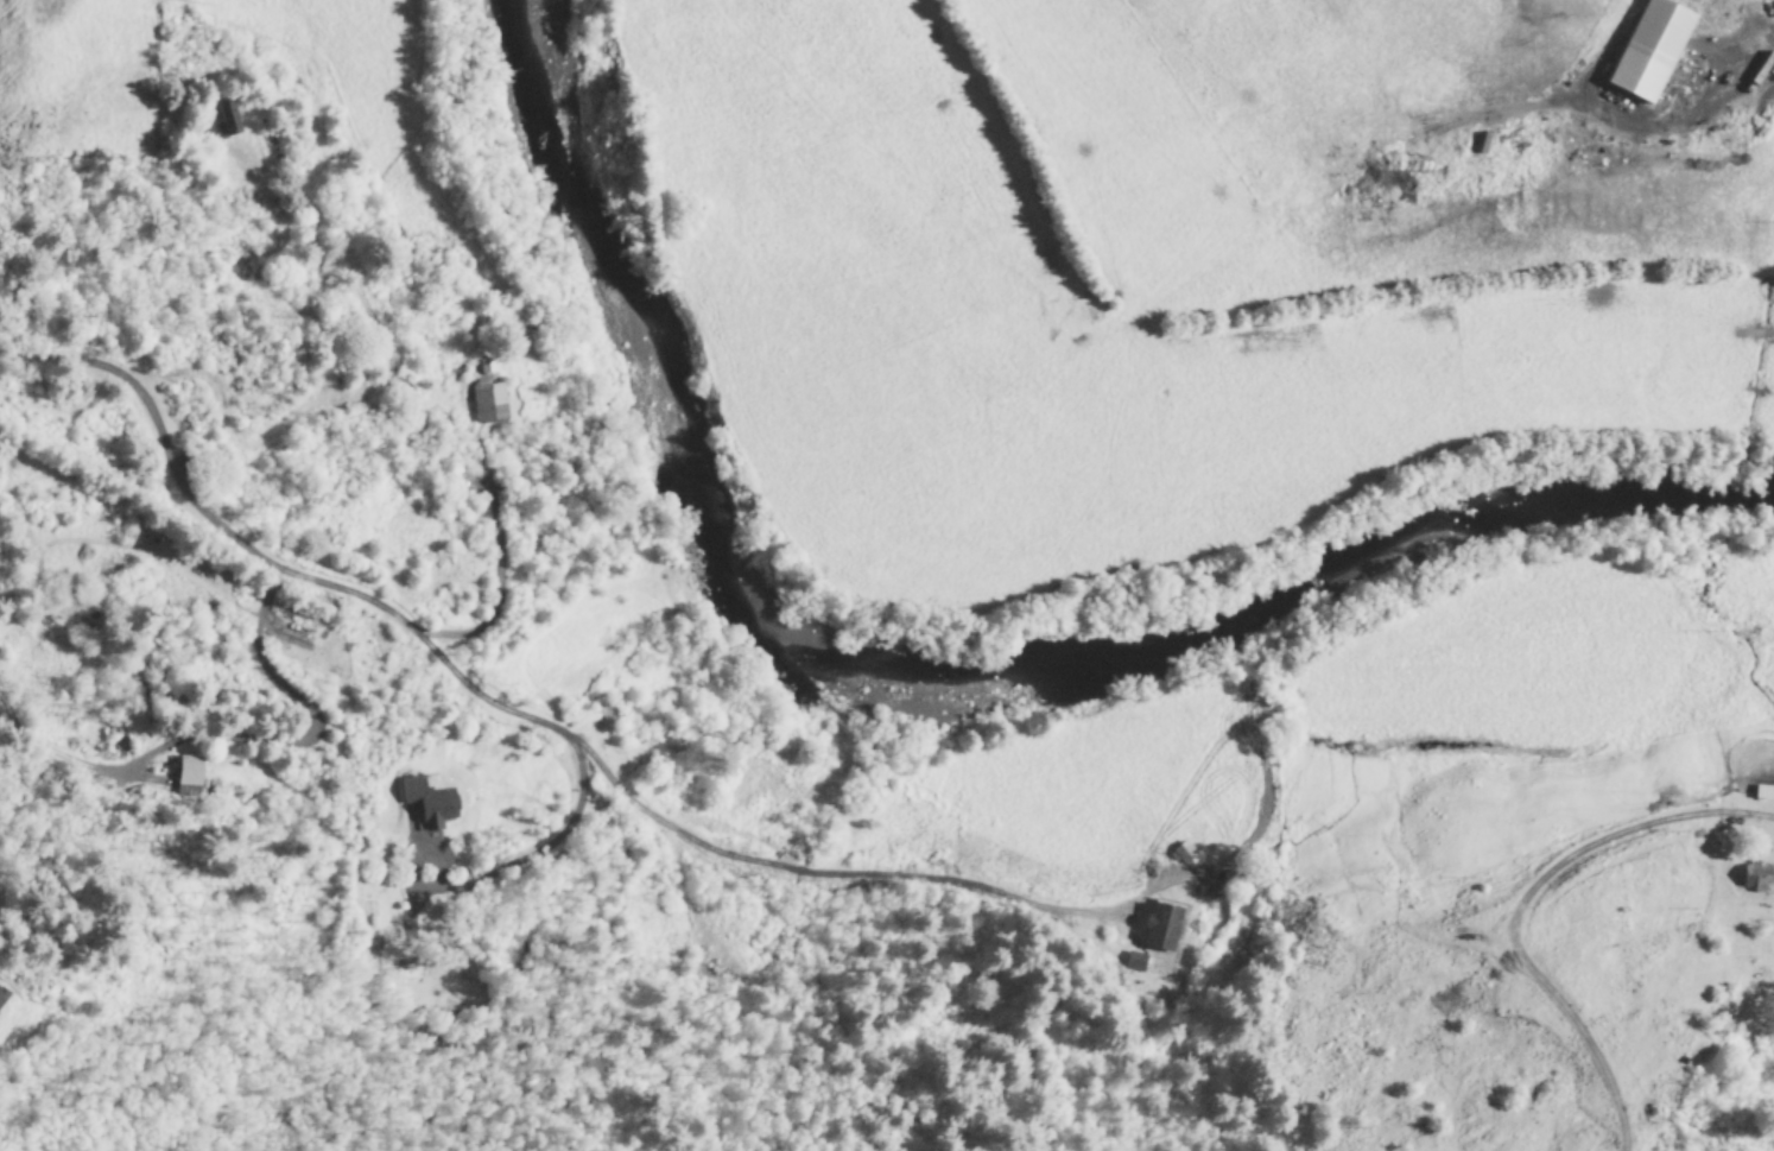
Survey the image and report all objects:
building: (1651, 51)
road: (57, 359)
building: (486, 367)
building: (488, 404)
building: (188, 776)
building: (427, 803)
building: (1183, 854)
building: (1757, 875)
building: (1, 995)
road: (0, 1077)

